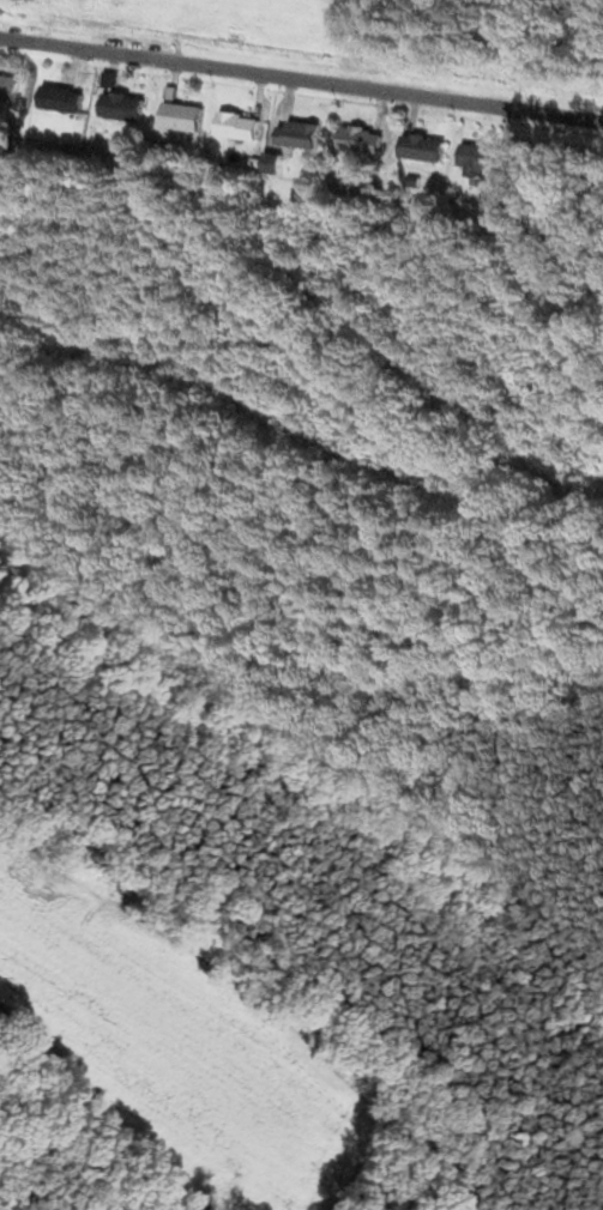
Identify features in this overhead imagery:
road: (301, 80)
building: (12, 90)
building: (68, 102)
building: (129, 108)
building: (189, 119)
building: (246, 128)
building: (307, 137)
building: (370, 144)
building: (433, 150)
building: (492, 163)

